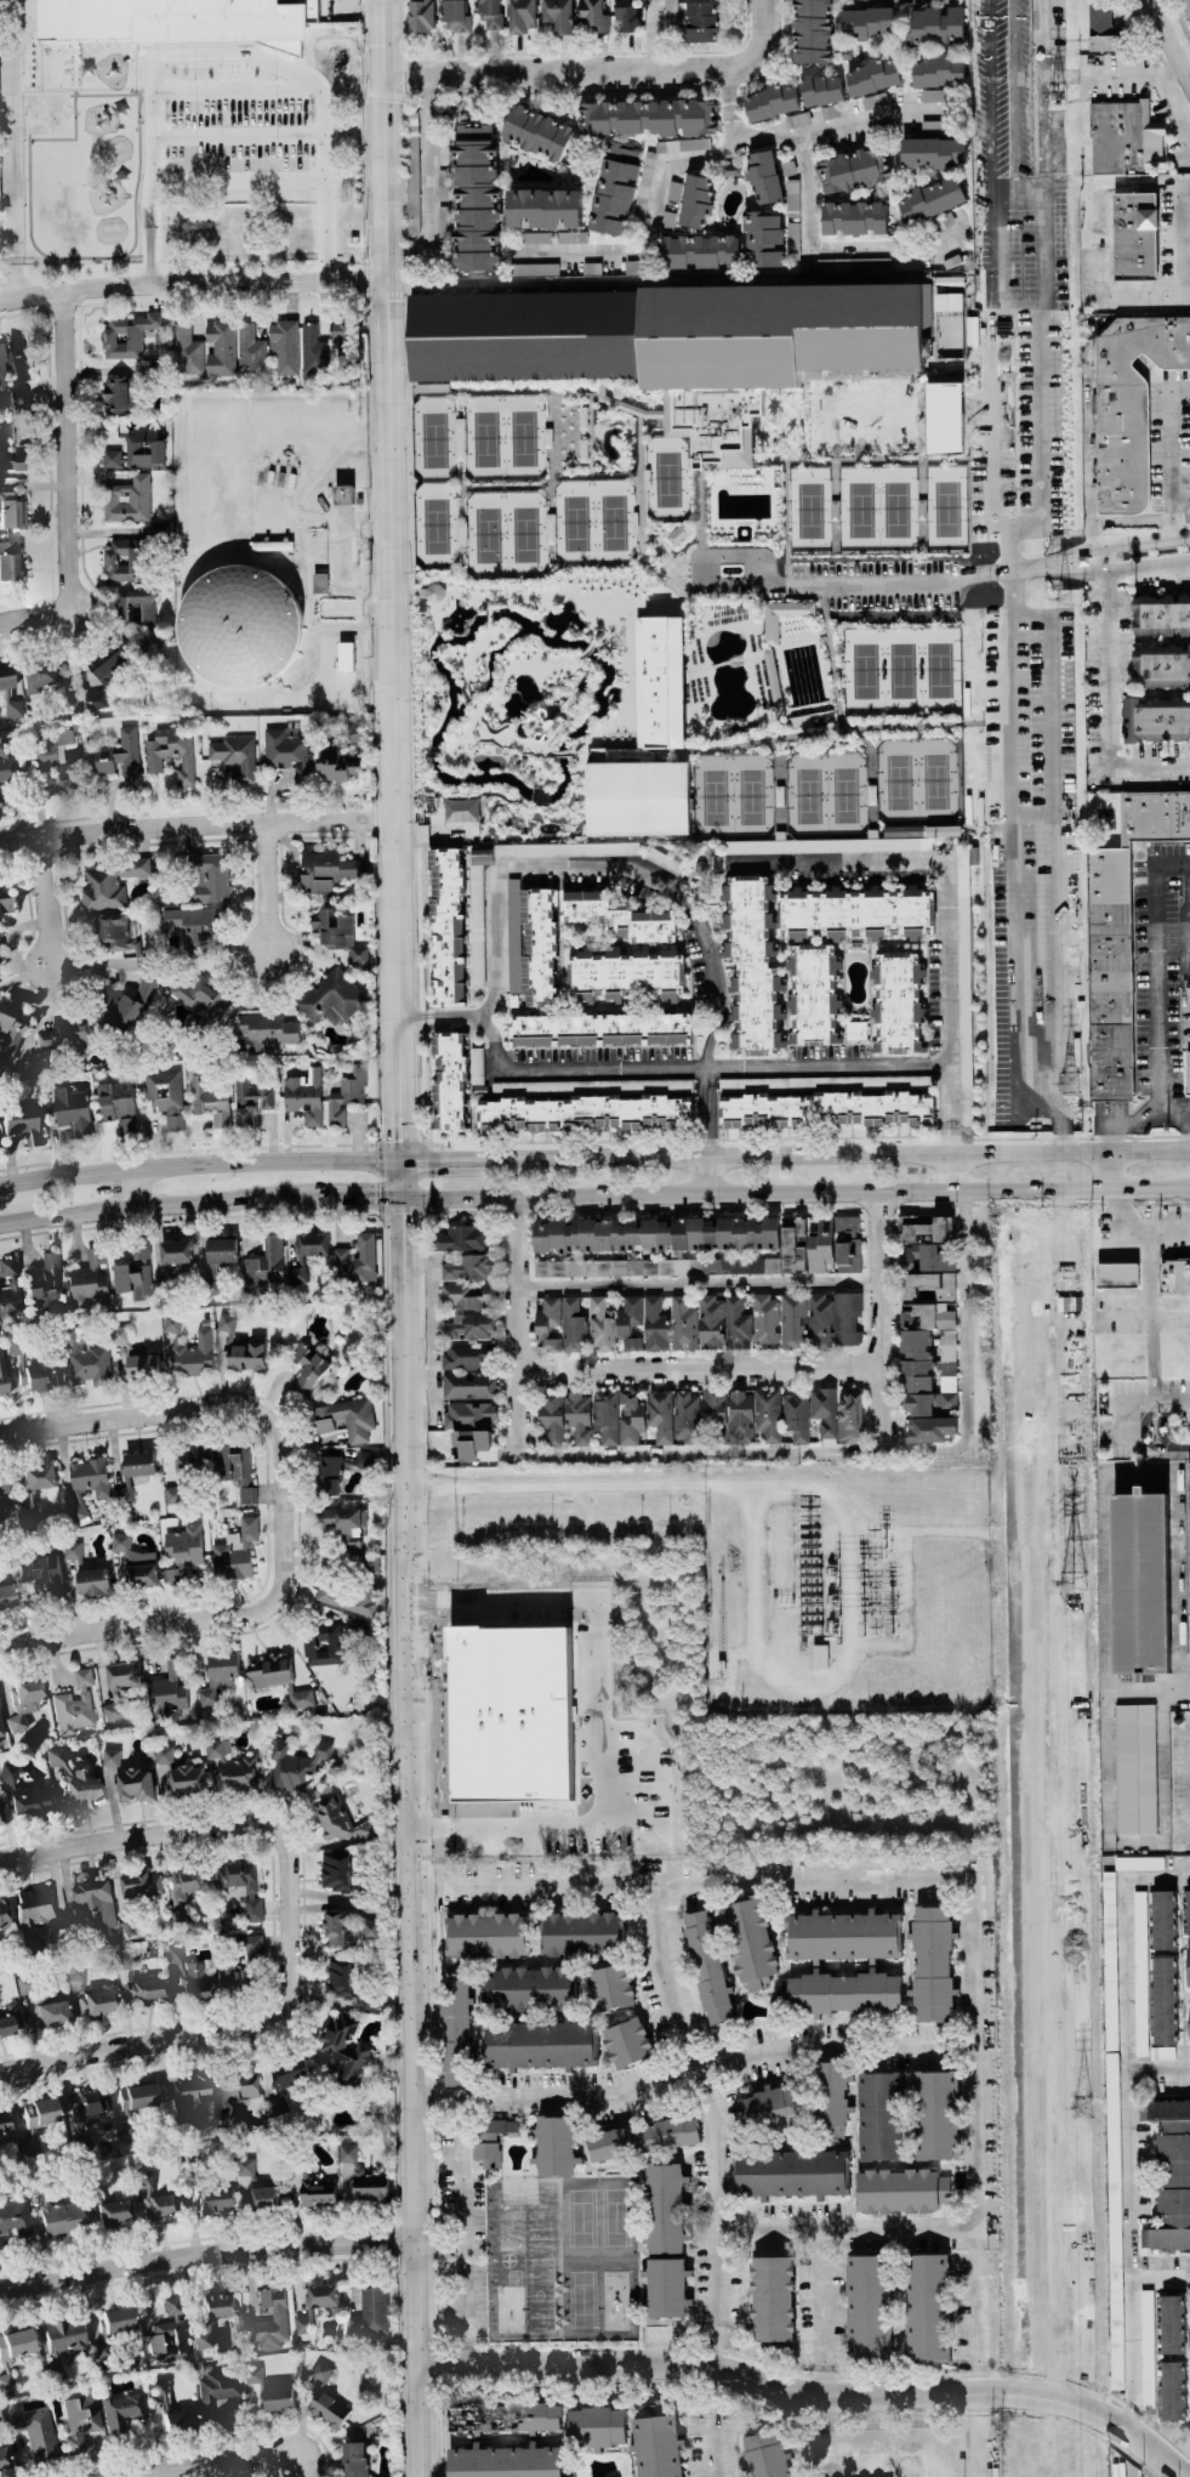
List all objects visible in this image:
building: (870, 0)
building: (940, 1)
road: (1186, 5)
building: (670, 13)
building: (489, 15)
building: (558, 15)
building: (592, 15)
building: (626, 15)
building: (421, 16)
building: (455, 16)
building: (522, 16)
building: (701, 21)
building: (173, 22)
building: (866, 22)
building: (935, 25)
building: (1101, 28)
building: (810, 30)
road: (654, 36)
road: (1165, 49)
road: (228, 59)
road: (735, 68)
building: (936, 70)
road: (518, 73)
road: (1139, 76)
building: (871, 78)
building: (820, 90)
road: (992, 95)
road: (1013, 95)
building: (932, 96)
power tower: (1054, 97)
building: (873, 101)
road: (1175, 101)
building: (770, 102)
road: (731, 103)
building: (648, 118)
building: (536, 132)
road: (238, 133)
building: (1123, 137)
road: (10, 148)
road: (667, 153)
building: (932, 153)
road: (438, 165)
building: (853, 170)
building: (411, 172)
building: (763, 177)
road: (238, 180)
building: (442, 184)
building: (673, 191)
road: (1018, 191)
building: (476, 198)
building: (791, 198)
building: (930, 200)
building: (695, 201)
building: (545, 208)
building: (853, 218)
building: (443, 221)
building: (1134, 235)
building: (570, 237)
building: (536, 238)
building: (791, 238)
building: (763, 239)
road: (1179, 245)
road: (825, 246)
building: (443, 249)
building: (699, 251)
road: (588, 252)
building: (852, 265)
building: (591, 268)
building: (534, 269)
road: (192, 280)
building: (127, 335)
building: (343, 340)
building: (670, 343)
building: (283, 347)
building: (220, 348)
building: (250, 350)
building: (187, 351)
building: (313, 352)
building: (13, 368)
road: (67, 384)
building: (115, 394)
building: (1129, 403)
park: (503, 438)
park: (433, 439)
road: (1042, 441)
road: (995, 448)
building: (136, 451)
road: (1167, 451)
building: (10, 456)
road: (1087, 461)
park: (665, 478)
building: (342, 495)
road: (1179, 499)
building: (127, 500)
park: (878, 509)
building: (11, 511)
park: (593, 522)
park: (434, 525)
building: (677, 534)
park: (505, 535)
road: (1138, 541)
building: (124, 561)
building: (11, 562)
road: (1146, 567)
road: (70, 578)
road: (848, 581)
building: (318, 583)
building: (433, 592)
power tower: (1064, 604)
building: (135, 607)
building: (1160, 615)
building: (239, 626)
building: (769, 631)
building: (343, 657)
building: (1161, 666)
road: (1050, 667)
building: (102, 676)
building: (5, 678)
building: (36, 678)
building: (659, 682)
building: (12, 708)
road: (1103, 709)
building: (1156, 720)
road: (1002, 732)
building: (353, 733)
building: (170, 752)
building: (286, 752)
building: (597, 755)
building: (234, 757)
building: (120, 759)
building: (53, 760)
building: (336, 762)
building: (7, 763)
park: (916, 780)
park: (825, 794)
park: (731, 796)
building: (636, 799)
building: (460, 811)
road: (194, 822)
building: (826, 846)
building: (564, 850)
building: (480, 857)
building: (662, 862)
building: (326, 869)
building: (207, 877)
building: (108, 884)
road: (947, 884)
road: (266, 886)
road: (490, 892)
road: (47, 902)
building: (5, 908)
building: (854, 913)
building: (617, 915)
building: (476, 924)
building: (190, 925)
building: (446, 927)
building: (115, 932)
building: (512, 933)
building: (337, 934)
building: (1121, 936)
road: (1189, 938)
road: (1055, 939)
building: (539, 948)
road: (711, 956)
building: (751, 962)
building: (622, 975)
building: (963, 983)
building: (813, 993)
building: (199, 999)
building: (330, 999)
road: (1014, 1000)
building: (896, 1002)
building: (124, 1007)
road: (1160, 1015)
road: (410, 1016)
building: (11, 1028)
building: (598, 1030)
building: (854, 1030)
building: (262, 1032)
building: (62, 1038)
building: (476, 1066)
road: (827, 1068)
road: (575, 1070)
building: (1186, 1073)
building: (449, 1080)
building: (821, 1083)
power tower: (1069, 1084)
building: (590, 1086)
building: (346, 1095)
building: (303, 1096)
building: (164, 1097)
building: (250, 1098)
building: (209, 1100)
building: (116, 1106)
road: (1189, 1106)
building: (825, 1109)
building: (72, 1112)
building: (583, 1112)
road: (1188, 1115)
road: (702, 1124)
building: (23, 1127)
road: (1059, 1134)
road: (952, 1138)
traffic signals: (398, 1140)
road: (895, 1155)
road: (543, 1160)
road: (442, 1161)
traffic signals: (429, 1163)
road: (198, 1168)
road: (1109, 1170)
road: (952, 1172)
road: (704, 1175)
road: (129, 1188)
road: (793, 1192)
road: (353, 1197)
traffic signals: (371, 1197)
road: (153, 1204)
traffic signals: (399, 1217)
road: (1168, 1233)
building: (656, 1234)
road: (399, 1238)
building: (457, 1239)
building: (312, 1244)
building: (847, 1244)
building: (922, 1244)
building: (792, 1246)
building: (820, 1246)
building: (176, 1255)
building: (216, 1260)
building: (355, 1260)
building: (263, 1263)
building: (655, 1267)
building: (468, 1268)
building: (1116, 1276)
building: (1174, 1276)
building: (132, 1277)
building: (89, 1279)
road: (694, 1285)
building: (45, 1288)
building: (8, 1290)
building: (467, 1296)
road: (1148, 1311)
road: (1168, 1318)
building: (820, 1320)
building: (710, 1322)
building: (764, 1322)
building: (171, 1323)
building: (226, 1323)
building: (628, 1323)
building: (682, 1324)
building: (736, 1324)
building: (559, 1325)
building: (599, 1325)
building: (654, 1325)
road: (877, 1325)
road: (513, 1326)
building: (468, 1328)
building: (119, 1335)
building: (927, 1342)
building: (245, 1354)
building: (193, 1356)
building: (466, 1357)
road: (966, 1358)
building: (87, 1364)
building: (142, 1365)
building: (307, 1369)
building: (32, 1370)
road: (696, 1371)
building: (2, 1379)
building: (467, 1386)
building: (712, 1407)
building: (822, 1410)
building: (767, 1414)
building: (659, 1415)
building: (469, 1416)
building: (592, 1416)
building: (685, 1416)
building: (739, 1416)
building: (796, 1416)
building: (628, 1418)
building: (849, 1418)
building: (345, 1419)
road: (91, 1421)
building: (550, 1421)
building: (929, 1430)
building: (471, 1443)
road: (1138, 1445)
road: (699, 1455)
building: (364, 1459)
building: (138, 1464)
building: (234, 1471)
building: (184, 1472)
road: (1140, 1473)
building: (328, 1475)
building: (89, 1476)
building: (2, 1485)
building: (35, 1487)
building: (124, 1493)
building: (1189, 1501)
road: (847, 1512)
building: (342, 1526)
building: (119, 1543)
power tower: (886, 1543)
building: (182, 1551)
building: (235, 1552)
building: (73, 1553)
building: (44, 1573)
building: (133, 1573)
building: (92, 1581)
power tower: (1072, 1584)
building: (1140, 1585)
power substation: (848, 1587)
building: (6, 1597)
building: (346, 1598)
power tower: (893, 1600)
road: (272, 1601)
road: (422, 1606)
road: (796, 1617)
power tower: (893, 1629)
building: (324, 1646)
building: (434, 1675)
building: (460, 1675)
building: (217, 1676)
building: (278, 1680)
road: (591, 1683)
building: (169, 1686)
building: (113, 1688)
road: (1175, 1689)
building: (24, 1701)
building: (74, 1705)
building: (0, 1732)
building: (163, 1755)
building: (55, 1757)
building: (621, 1757)
building: (292, 1765)
building: (230, 1767)
building: (1134, 1768)
building: (7, 1773)
building: (554, 1777)
building: (626, 1777)
building: (129, 1778)
building: (483, 1778)
building: (187, 1779)
building: (80, 1790)
building: (683, 1795)
building: (28, 1803)
building: (626, 1805)
building: (554, 1806)
building: (483, 1807)
building: (332, 1818)
building: (0, 1819)
building: (626, 1823)
building: (554, 1824)
building: (484, 1825)
road: (190, 1826)
building: (365, 1830)
road: (1109, 1843)
building: (568, 1852)
building: (1137, 1863)
building: (335, 1870)
road: (943, 1880)
road: (422, 1887)
building: (184, 1891)
building: (250, 1892)
building: (135, 1897)
building: (95, 1901)
building: (34, 1907)
building: (1186, 1910)
building: (4, 1915)
building: (1162, 1920)
building: (348, 1927)
building: (581, 1933)
building: (486, 1936)
building: (842, 1936)
building: (748, 1942)
building: (123, 1960)
building: (930, 1965)
building: (1188, 1965)
building: (707, 1967)
building: (241, 1971)
building: (1139, 1973)
building: (76, 1975)
building: (186, 1978)
building: (338, 1979)
building: (610, 1987)
building: (528, 1989)
building: (146, 1992)
building: (838, 1994)
building: (1165, 2000)
building: (96, 2004)
building: (52, 2015)
building: (10, 2021)
building: (456, 2028)
road: (183, 2039)
building: (626, 2043)
building: (539, 2045)
building: (345, 2047)
building: (1161, 2053)
road: (1157, 2058)
road: (723, 2063)
building: (291, 2073)
building: (190, 2092)
building: (137, 2097)
road: (704, 2098)
building: (235, 2100)
building: (831, 2100)
road: (445, 2103)
building: (278, 2106)
building: (771, 2108)
power tower: (1077, 2108)
building: (86, 2109)
building: (40, 2114)
building: (935, 2115)
building: (879, 2117)
road: (1124, 2121)
building: (5, 2129)
building: (1111, 2130)
building: (643, 2138)
building: (490, 2140)
building: (553, 2146)
building: (30, 2147)
building: (244, 2168)
building: (790, 2174)
building: (1169, 2175)
building: (361, 2177)
building: (900, 2191)
building: (317, 2193)
building: (156, 2198)
building: (264, 2198)
building: (216, 2200)
building: (664, 2208)
building: (114, 2214)
building: (62, 2218)
building: (16, 2222)
road: (843, 2231)
road: (459, 2234)
road: (437, 2249)
road: (204, 2254)
road: (1157, 2274)
building: (666, 2288)
road: (814, 2299)
building: (771, 2301)
building: (315, 2305)
building: (926, 2307)
building: (867, 2308)
building: (370, 2313)
building: (278, 2314)
building: (209, 2317)
building: (116, 2322)
building: (1172, 2324)
building: (169, 2333)
building: (64, 2340)
road: (712, 2346)
building: (1146, 2351)
building: (13, 2353)
road: (563, 2364)
building: (319, 2373)
building: (252, 2374)
road: (814, 2379)
road: (977, 2380)
building: (1173, 2391)
road: (843, 2393)
building: (158, 2396)
building: (216, 2398)
building: (278, 2398)
building: (328, 2408)
road: (1091, 2409)
building: (120, 2413)
building: (503, 2418)
building: (80, 2421)
road: (710, 2424)
building: (596, 2427)
building: (35, 2433)
road: (978, 2435)
building: (655, 2441)
road: (1128, 2453)
building: (765, 2455)
building: (4, 2459)
building: (353, 2459)
building: (503, 2461)
road: (220, 2467)

